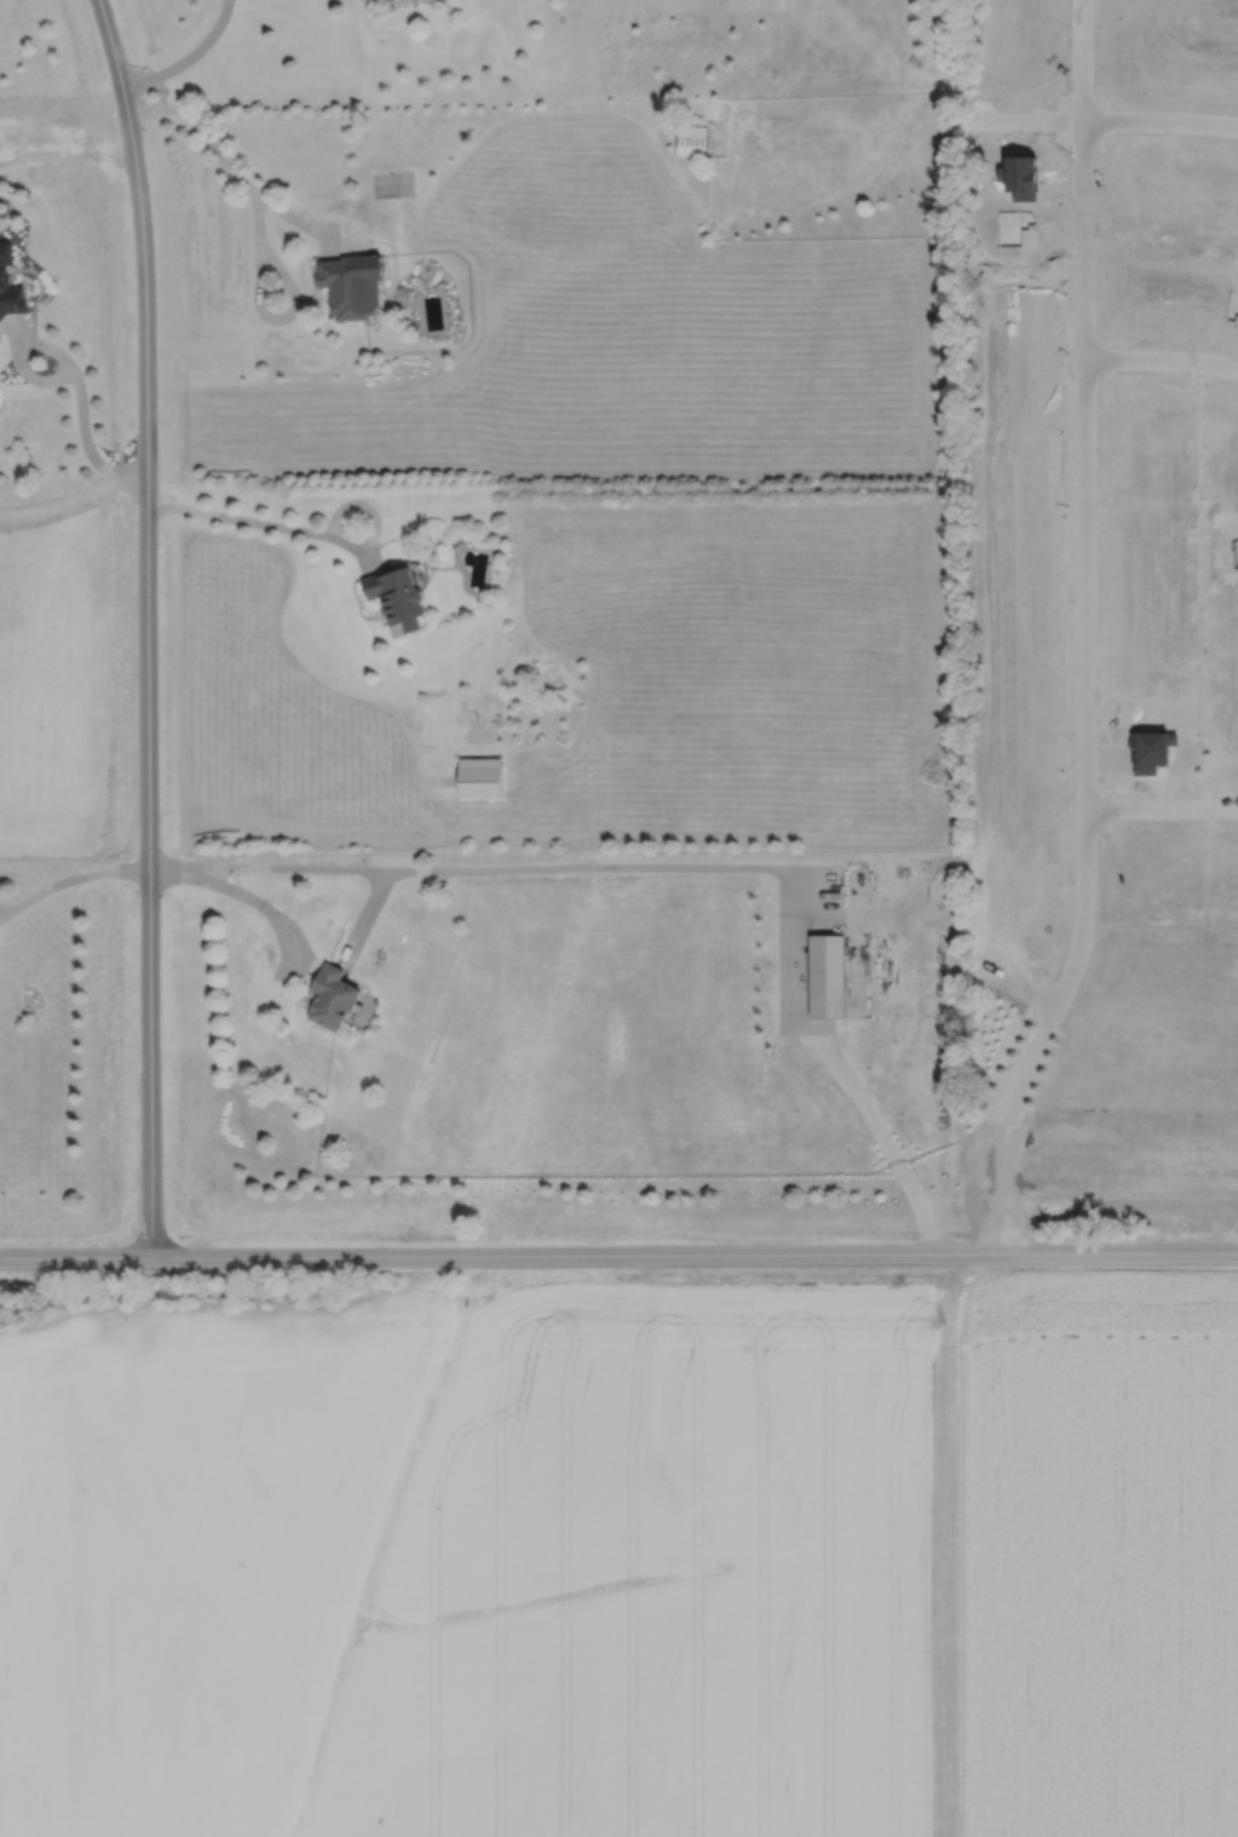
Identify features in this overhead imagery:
road: (189, 59)
road: (1110, 121)
building: (687, 140)
road: (257, 223)
building: (7, 283)
building: (341, 287)
road: (1162, 361)
road: (70, 368)
road: (63, 500)
road: (261, 526)
building: (1117, 570)
building: (395, 599)
road: (148, 627)
road: (1088, 636)
building: (476, 779)
road: (1163, 809)
road: (683, 867)
road: (71, 886)
road: (244, 897)
road: (1, 918)
building: (824, 977)
building: (327, 1000)
road: (618, 1256)
airport runway: (943, 1558)

